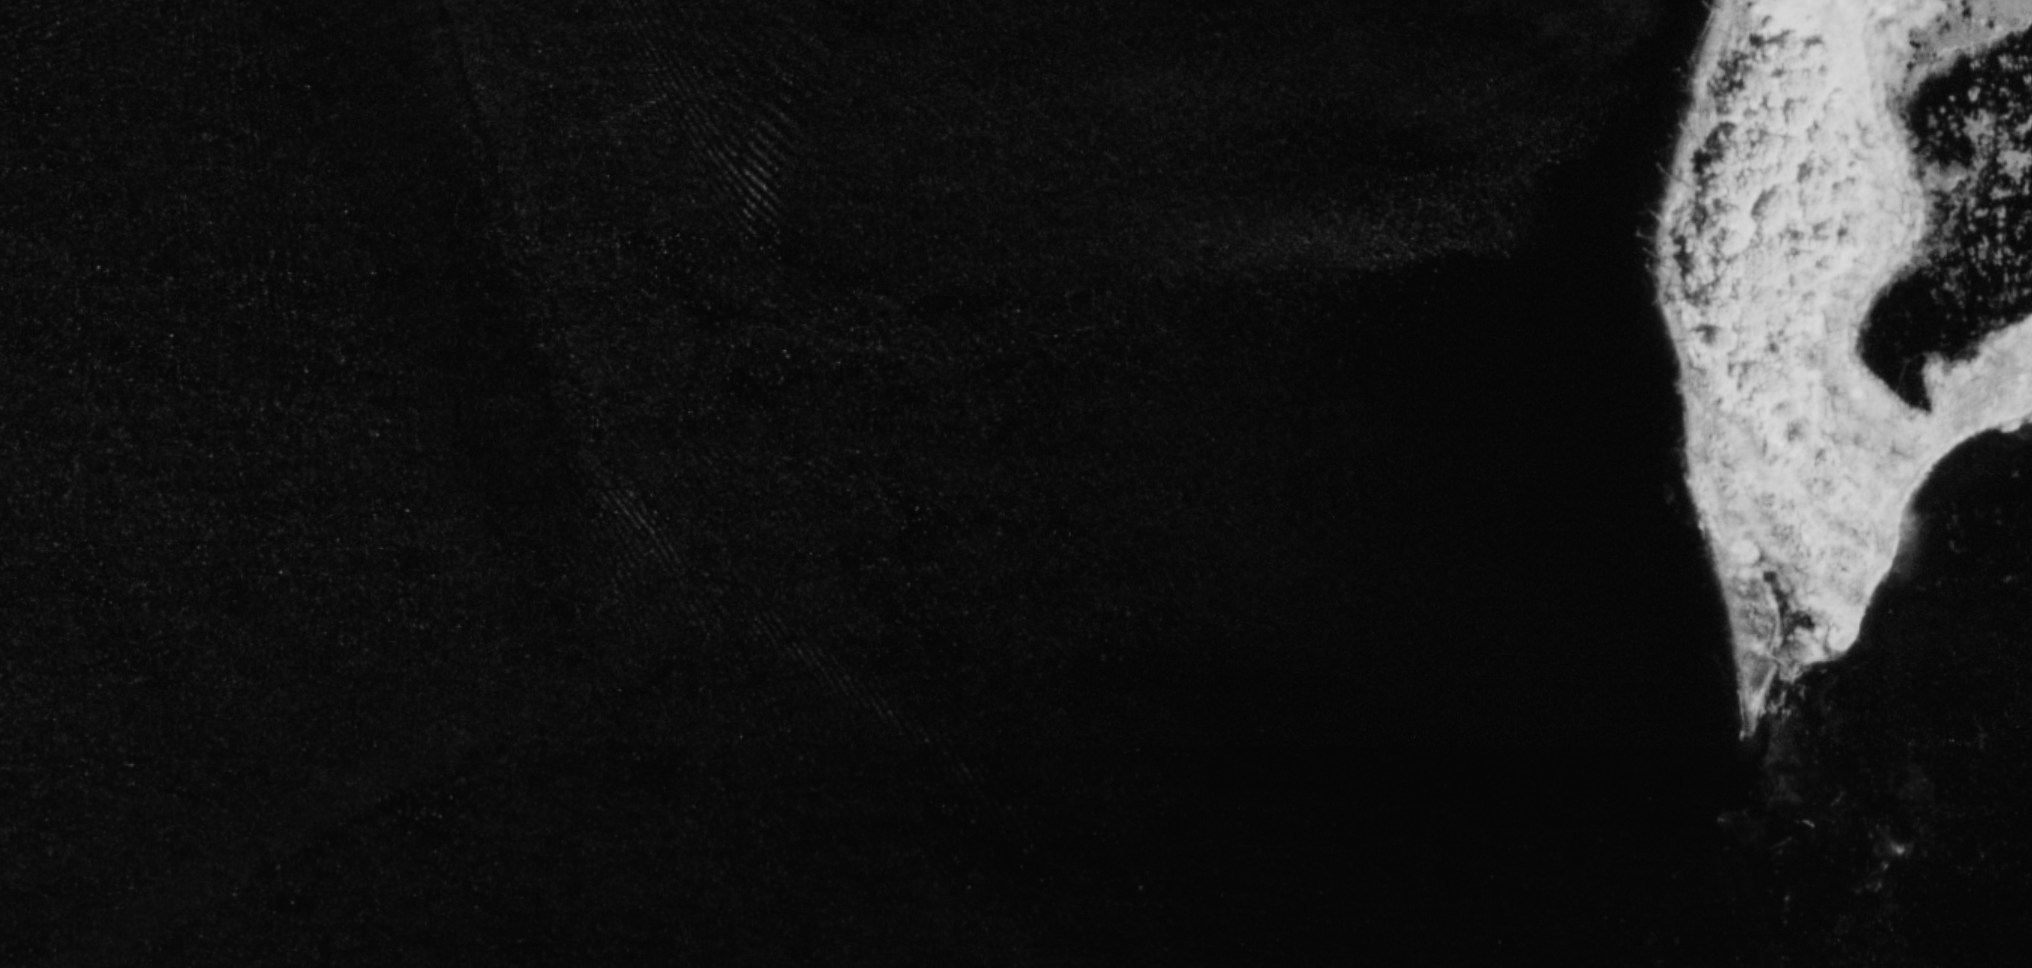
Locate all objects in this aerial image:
building: (1938, 0)
silo: (1938, 0)

